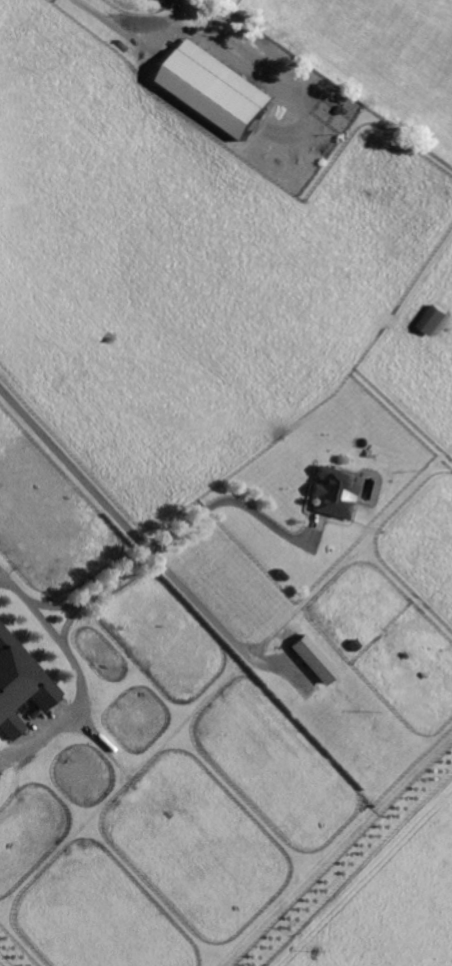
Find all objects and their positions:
road: (113, 25)
building: (225, 89)
building: (441, 319)
building: (335, 492)
road: (234, 503)
road: (143, 542)
road: (96, 587)
road: (54, 604)
road: (69, 653)
building: (317, 660)
building: (21, 684)

